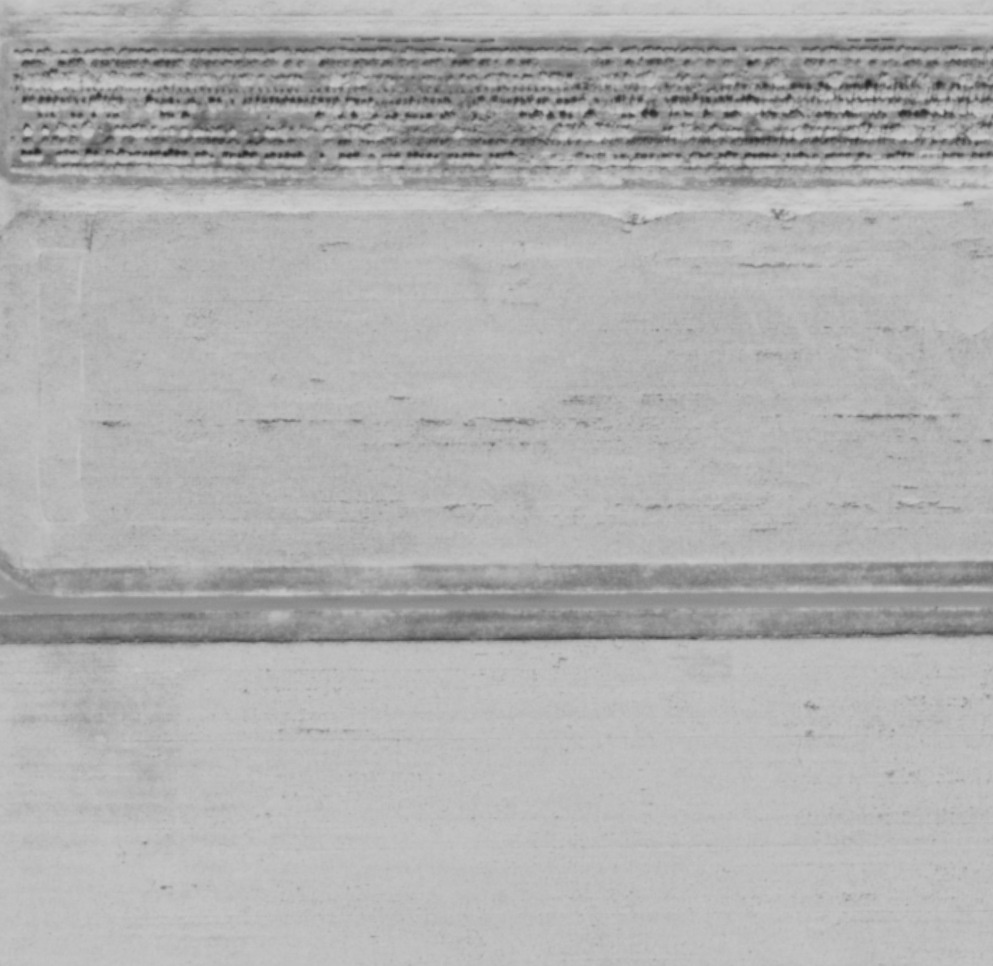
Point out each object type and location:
road: (496, 597)

